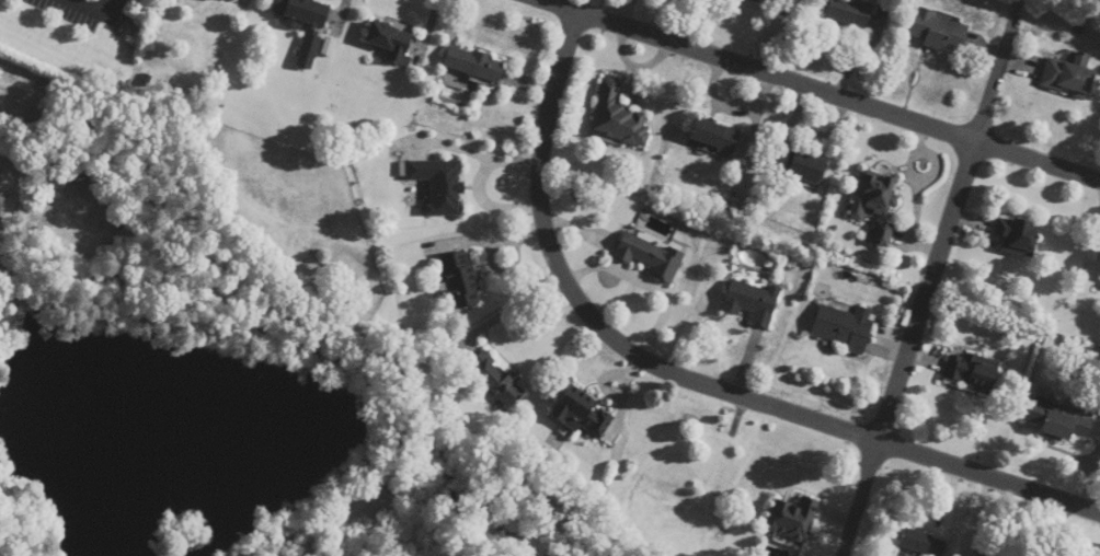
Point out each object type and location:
building: (230, 0)
road: (90, 2)
building: (849, 12)
building: (305, 24)
building: (939, 31)
building: (391, 42)
building: (474, 63)
building: (1068, 79)
road: (824, 89)
building: (619, 117)
building: (714, 136)
building: (800, 164)
building: (78, 174)
building: (440, 185)
building: (876, 201)
building: (1018, 234)
building: (648, 255)
building: (1095, 262)
building: (460, 278)
road: (926, 299)
building: (752, 300)
building: (844, 326)
building: (971, 370)
road: (683, 375)
building: (496, 379)
building: (583, 413)
building: (1065, 425)
building: (792, 518)
building: (921, 542)
building: (981, 555)

